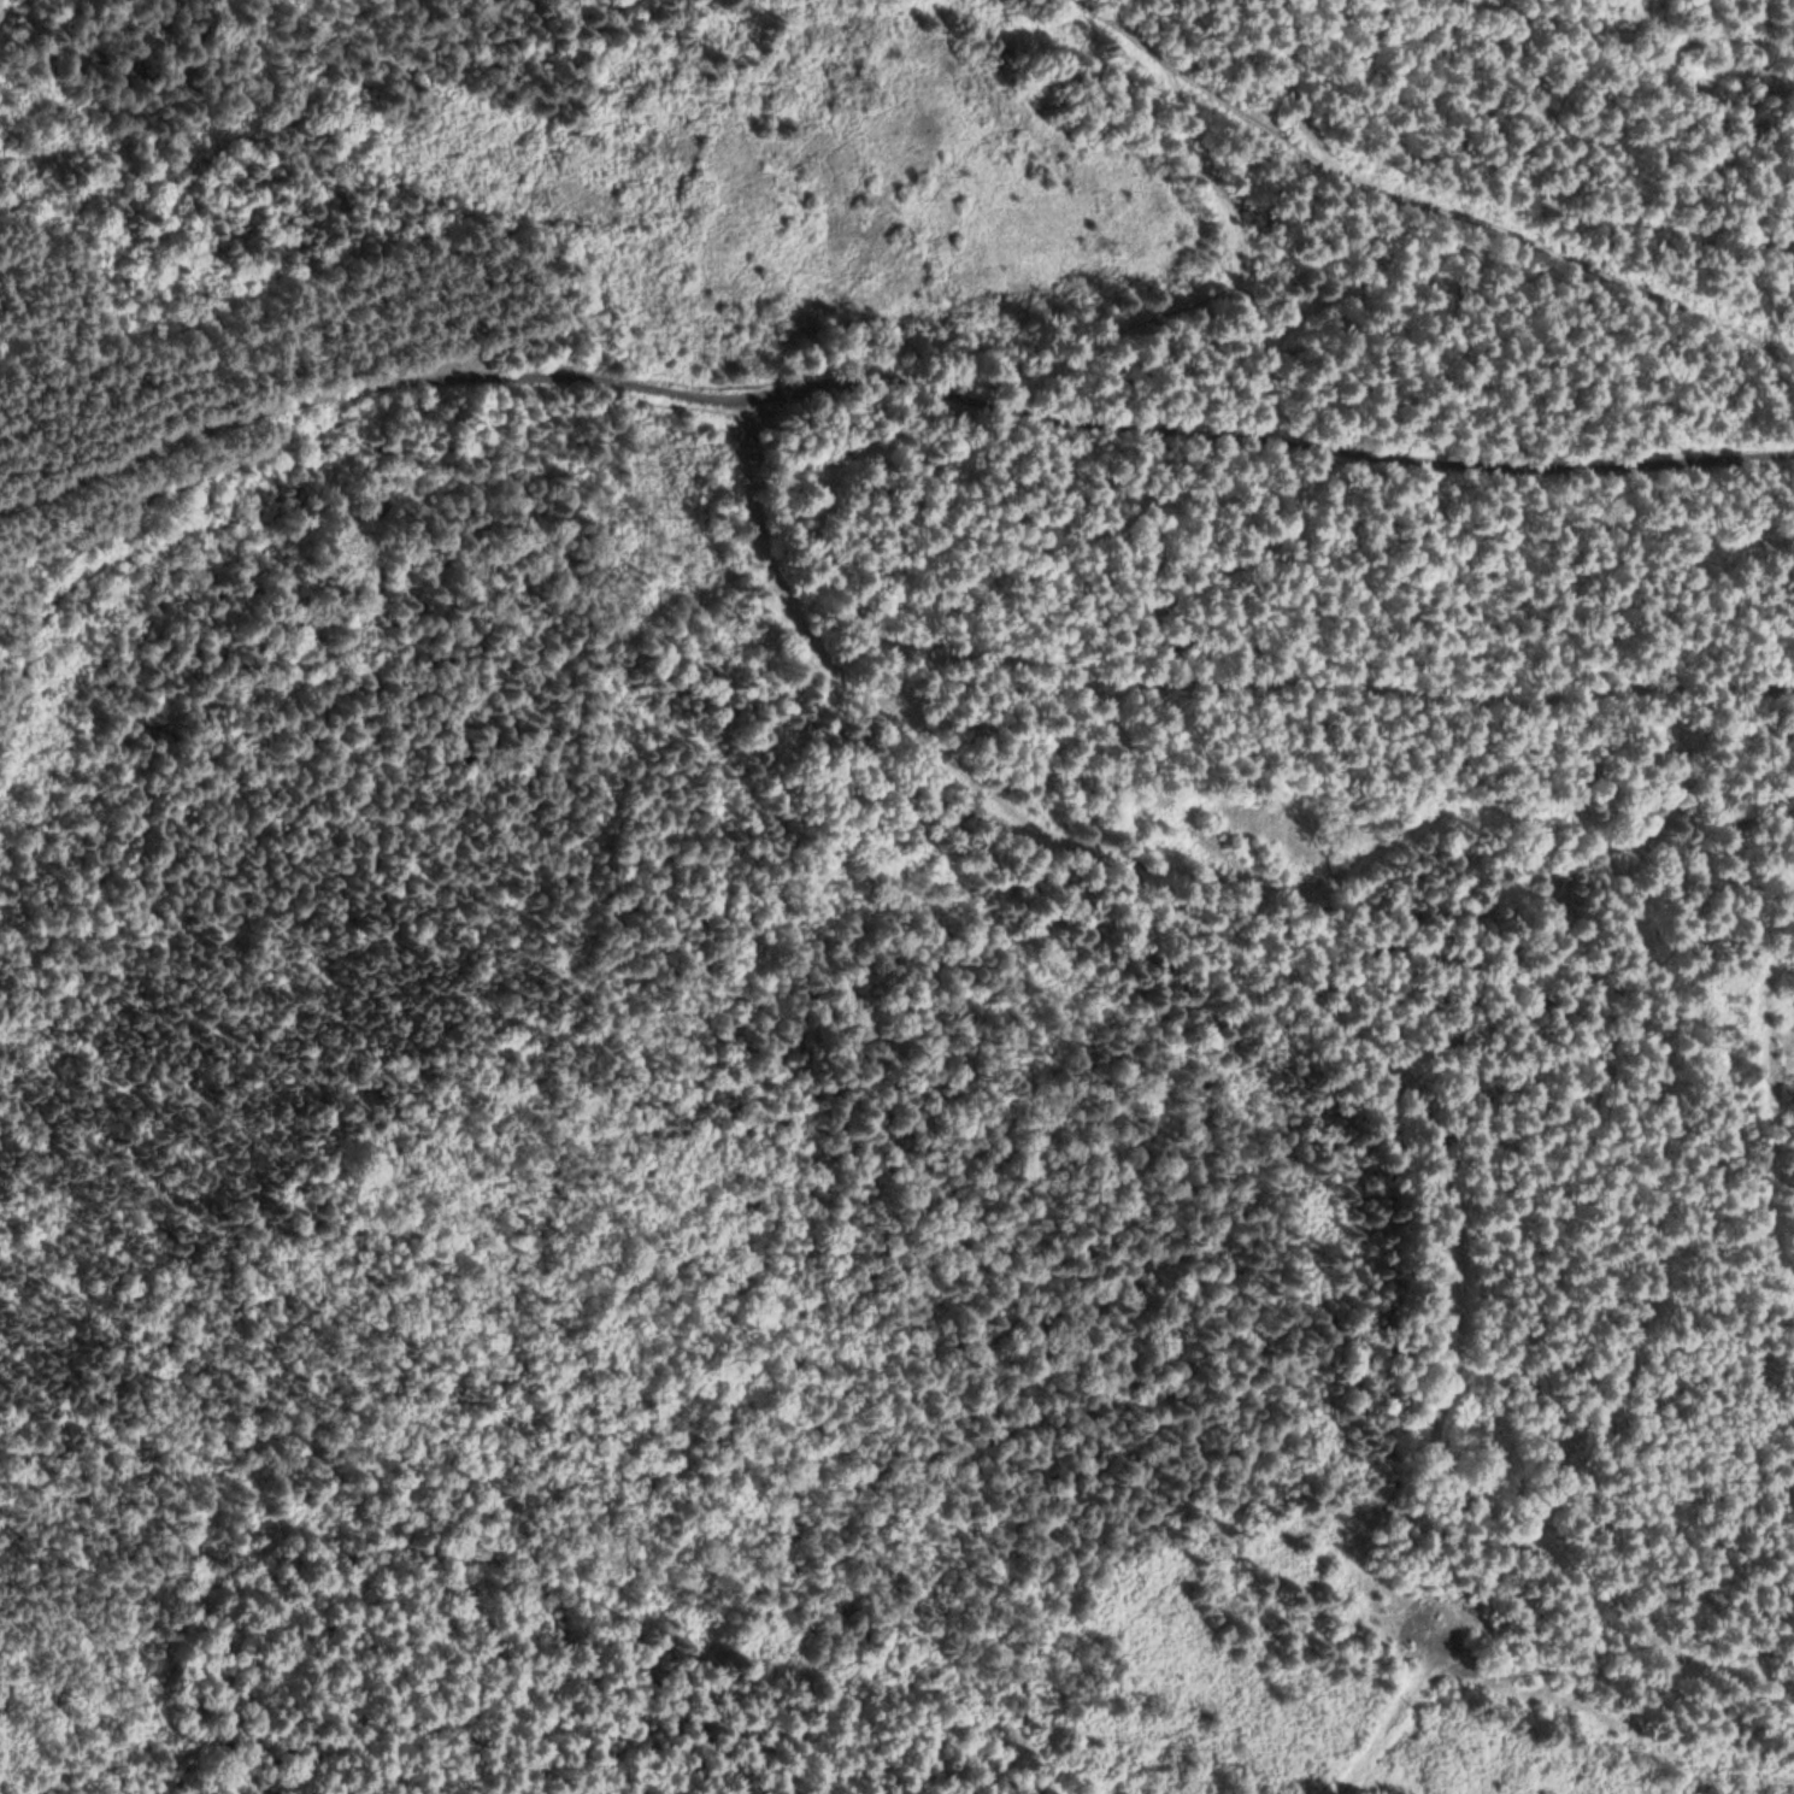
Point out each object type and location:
road: (1702, 118)
road: (1557, 186)
road: (1421, 200)
road: (1525, 301)
road: (1134, 328)
road: (369, 389)
road: (1265, 433)
road: (319, 459)
road: (1247, 581)
road: (1335, 1023)

